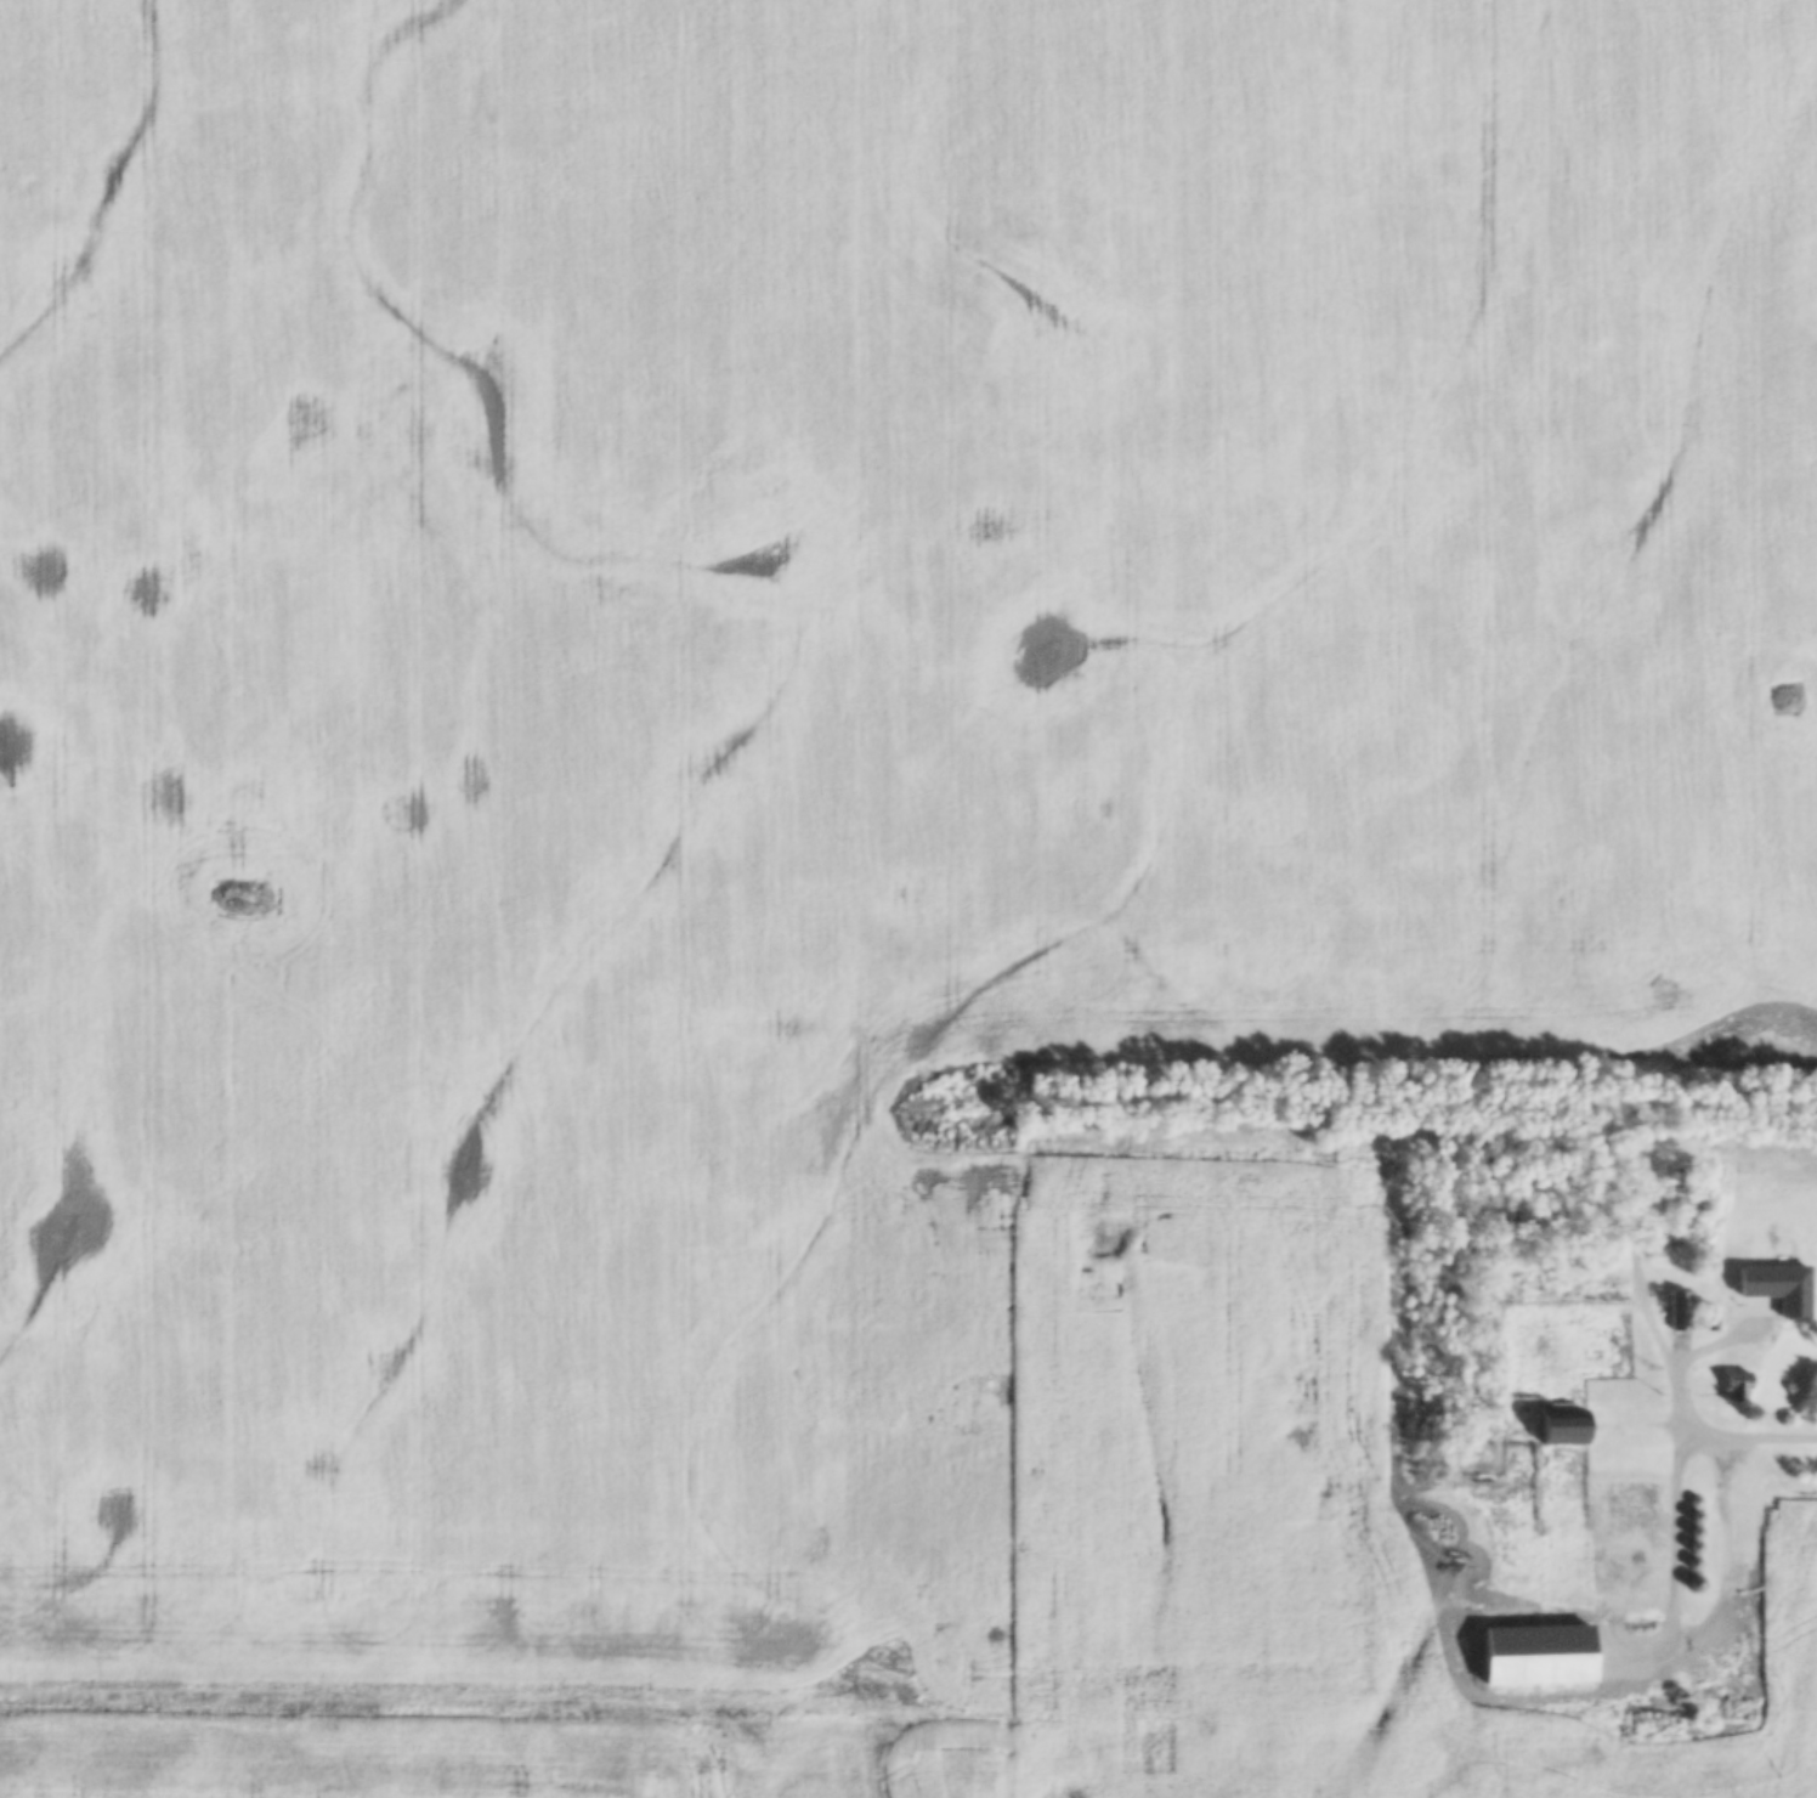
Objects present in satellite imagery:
building: (1680, 1310)
building: (1739, 1385)
building: (1568, 1426)
road: (1750, 1441)

